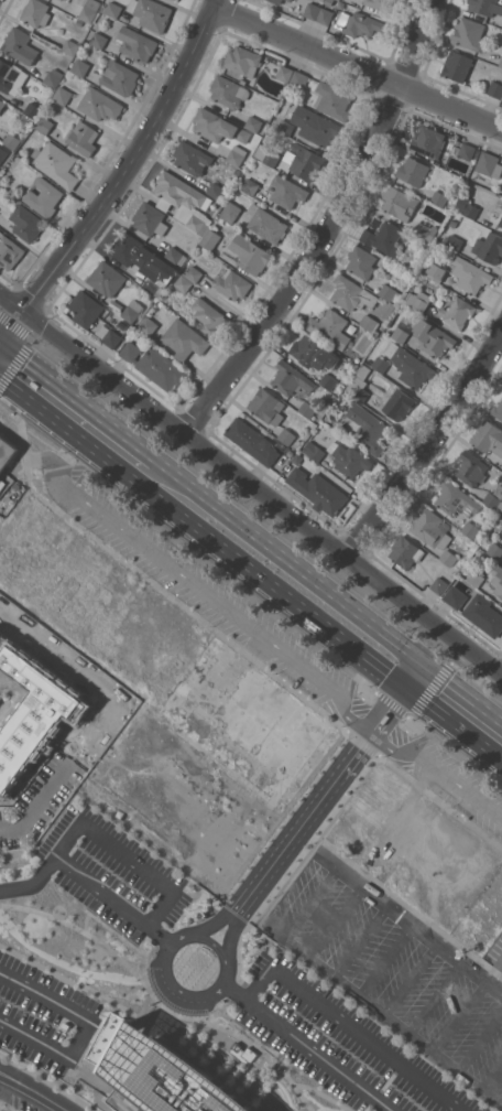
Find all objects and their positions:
building: (291, 0)
building: (323, 0)
building: (336, 0)
building: (277, 1)
building: (329, 2)
building: (381, 4)
building: (484, 7)
building: (111, 9)
building: (90, 10)
building: (34, 11)
building: (313, 11)
building: (151, 13)
building: (326, 17)
building: (360, 23)
building: (469, 33)
building: (99, 40)
building: (137, 43)
building: (20, 45)
building: (70, 46)
building: (243, 60)
building: (500, 62)
building: (457, 65)
building: (80, 66)
road: (357, 68)
building: (284, 73)
building: (11, 76)
building: (53, 77)
building: (120, 77)
building: (301, 78)
building: (495, 88)
building: (229, 90)
building: (62, 95)
building: (501, 99)
building: (332, 100)
building: (2, 104)
building: (99, 104)
building: (32, 110)
building: (253, 122)
building: (44, 123)
building: (315, 125)
building: (218, 126)
building: (286, 127)
building: (83, 137)
building: (12, 140)
building: (428, 141)
building: (449, 147)
building: (466, 151)
building: (2, 153)
building: (266, 154)
building: (237, 155)
building: (192, 158)
building: (304, 161)
road: (129, 162)
building: (57, 163)
building: (489, 164)
building: (0, 169)
building: (238, 171)
building: (413, 171)
building: (250, 185)
building: (216, 190)
building: (286, 191)
building: (440, 194)
building: (44, 196)
building: (184, 201)
building: (400, 203)
building: (467, 206)
building: (230, 211)
building: (150, 218)
building: (452, 220)
building: (500, 222)
building: (25, 223)
building: (265, 223)
road: (329, 229)
building: (425, 230)
building: (384, 237)
building: (211, 238)
building: (452, 240)
building: (488, 247)
building: (127, 248)
building: (9, 250)
building: (250, 254)
building: (175, 255)
building: (361, 261)
building: (436, 272)
building: (193, 273)
building: (470, 274)
building: (107, 278)
building: (182, 281)
building: (231, 283)
building: (151, 284)
building: (351, 293)
building: (389, 293)
building: (417, 300)
road: (11, 303)
building: (86, 308)
building: (132, 310)
building: (457, 312)
building: (208, 316)
building: (369, 323)
road: (11, 325)
building: (149, 325)
building: (330, 327)
building: (403, 330)
road: (1, 333)
traffic signals: (3, 335)
building: (108, 335)
building: (433, 337)
building: (184, 338)
road: (24, 344)
building: (313, 353)
building: (380, 364)
building: (155, 365)
building: (408, 365)
building: (291, 378)
building: (327, 380)
building: (359, 384)
road: (81, 396)
building: (399, 403)
building: (266, 406)
building: (307, 409)
building: (498, 409)
road: (50, 417)
building: (365, 428)
building: (286, 435)
building: (488, 436)
building: (252, 441)
road: (429, 446)
building: (314, 450)
building: (7, 452)
building: (348, 459)
building: (471, 468)
building: (501, 471)
building: (317, 489)
road: (262, 493)
building: (494, 498)
building: (456, 499)
building: (430, 528)
building: (469, 529)
building: (495, 550)
building: (405, 551)
building: (448, 557)
road: (292, 558)
road: (251, 570)
building: (474, 578)
building: (498, 579)
road: (150, 581)
building: (439, 584)
road: (207, 594)
building: (477, 608)
traffic signals: (423, 659)
road: (413, 672)
traffic signals: (404, 686)
road: (462, 689)
road: (414, 704)
road: (356, 706)
road: (452, 723)
road: (395, 736)
road: (437, 769)
road: (318, 799)
road: (37, 800)
road: (440, 801)
road: (127, 856)
road: (293, 863)
road: (85, 880)
road: (308, 902)
road: (266, 909)
road: (231, 914)
building: (483, 917)
road: (335, 920)
road: (84, 921)
road: (78, 928)
road: (198, 936)
road: (123, 939)
road: (359, 939)
road: (384, 959)
road: (42, 968)
road: (493, 970)
road: (408, 978)
road: (236, 992)
road: (434, 996)
road: (181, 1016)
road: (459, 1016)
road: (349, 1027)
road: (83, 1028)
road: (247, 1034)
road: (480, 1039)
road: (175, 1042)
road: (306, 1045)
road: (262, 1053)
building: (155, 1072)
road: (492, 1075)
road: (47, 1081)
road: (3, 1082)
road: (33, 1090)
road: (323, 1096)

